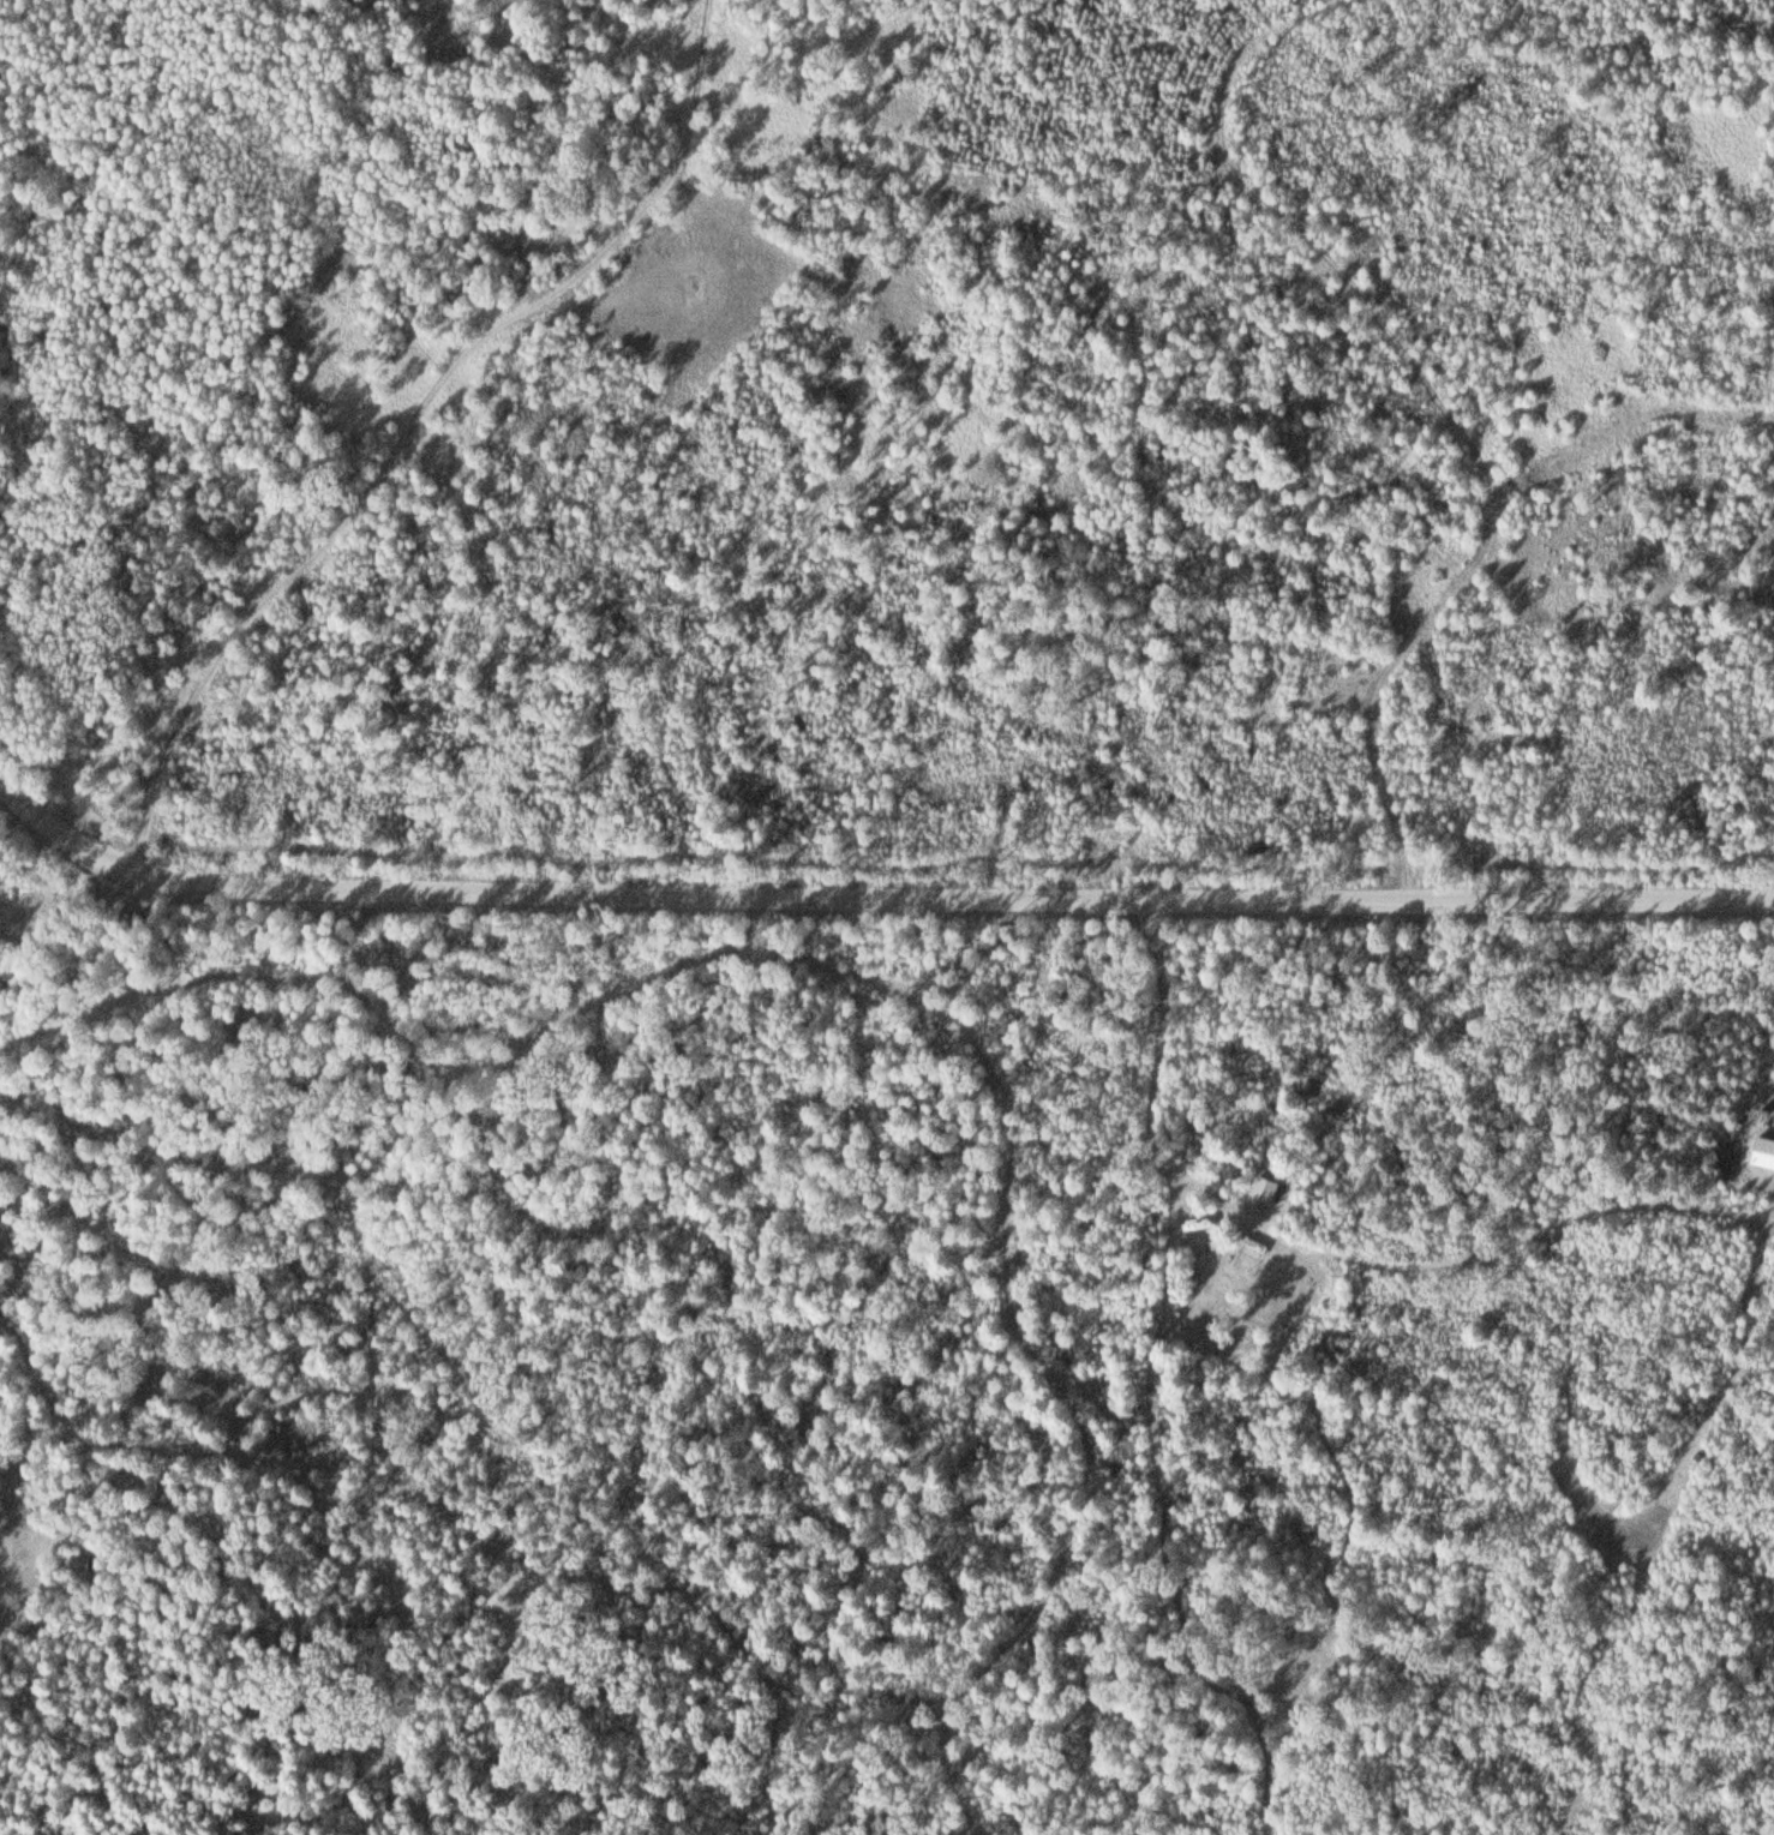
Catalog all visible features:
road: (525, 311)
road: (184, 721)
road: (870, 892)

